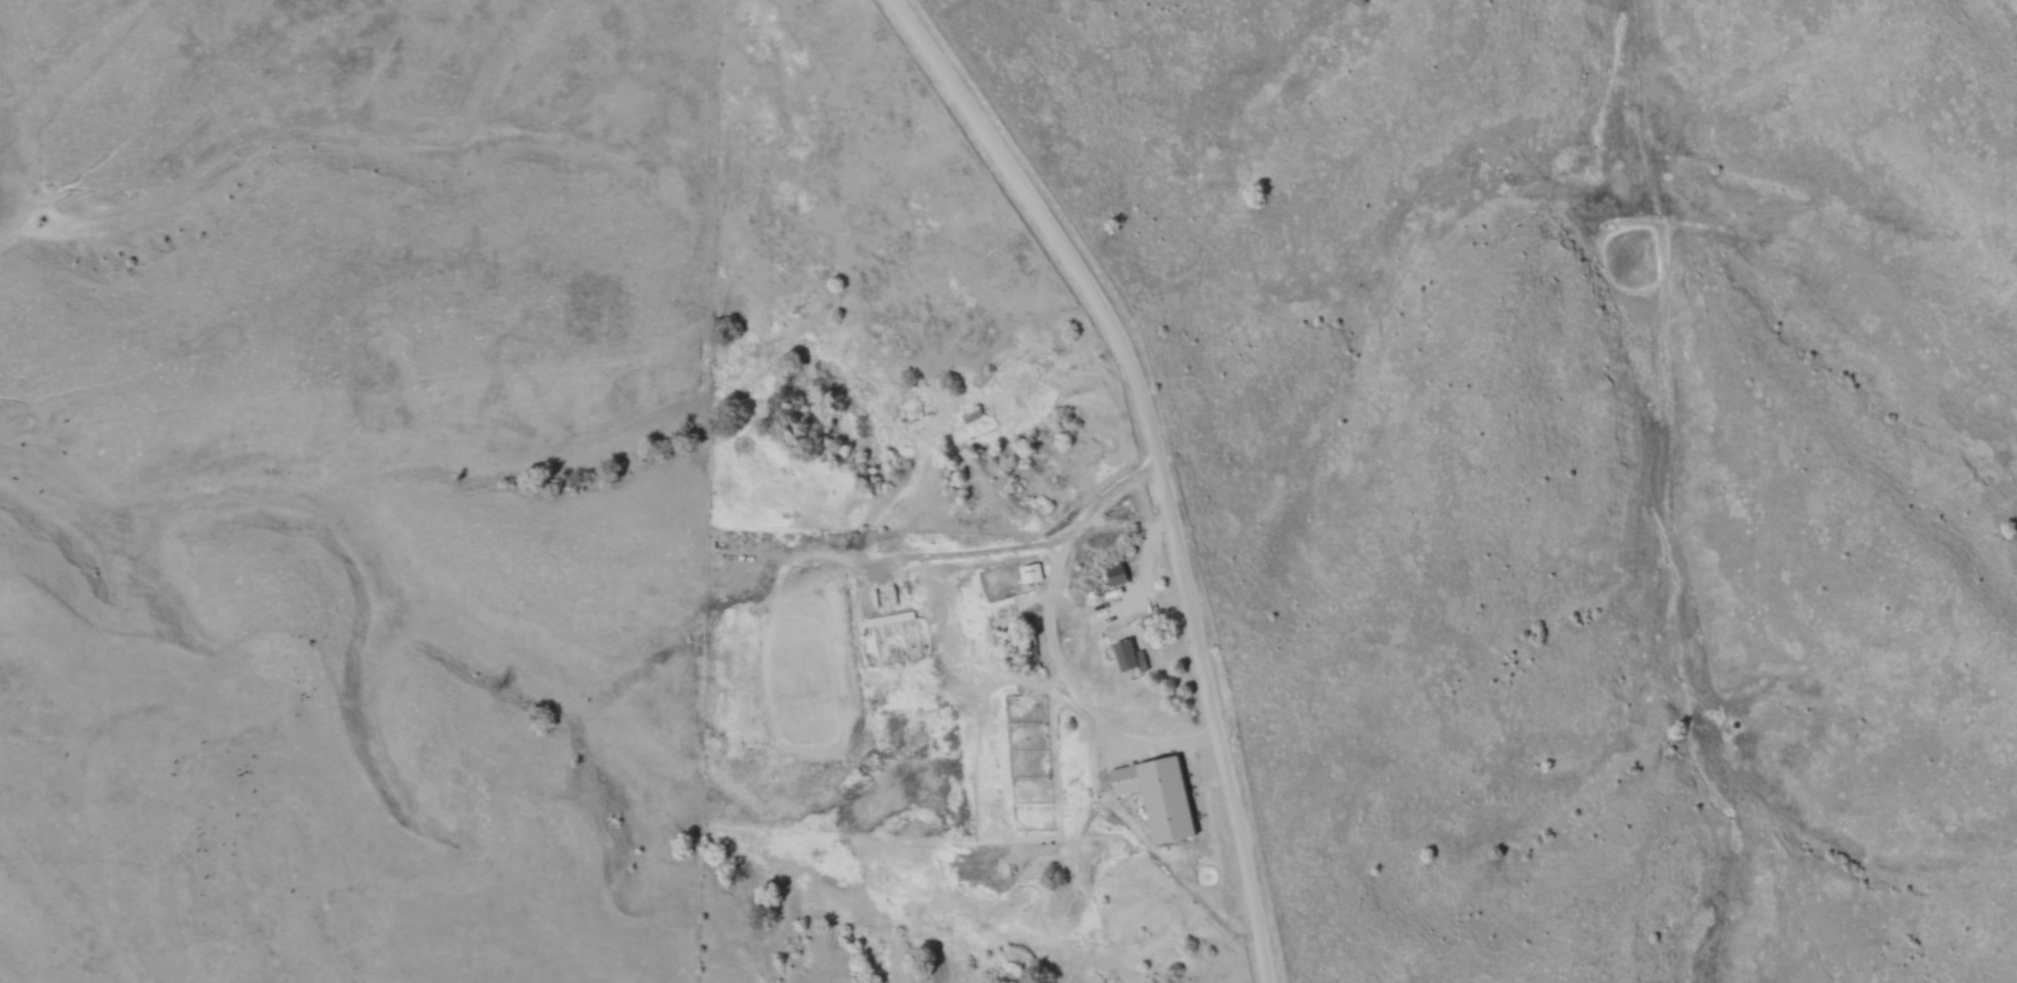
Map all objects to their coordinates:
building: (970, 417)
road: (1158, 460)
building: (1031, 574)
building: (1114, 575)
road: (1052, 634)
building: (1127, 656)
building: (1176, 803)

